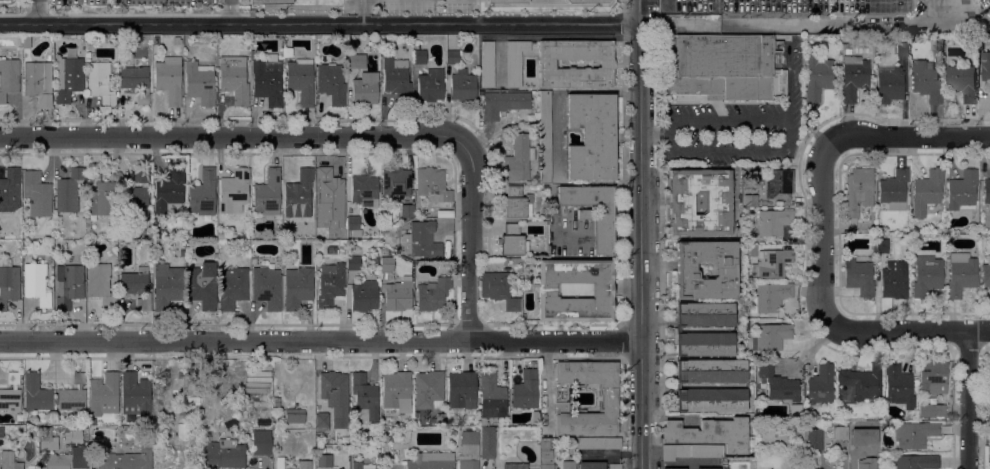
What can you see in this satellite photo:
building: (506, 1)
building: (586, 1)
building: (270, 2)
road: (638, 11)
road: (38, 12)
road: (230, 12)
road: (363, 12)
parking lot: (842, 13)
road: (976, 21)
road: (870, 22)
road: (675, 23)
road: (319, 24)
building: (156, 40)
building: (177, 40)
building: (26, 42)
building: (980, 43)
building: (844, 45)
building: (902, 49)
building: (848, 51)
building: (252, 54)
building: (419, 56)
building: (452, 57)
building: (356, 61)
building: (514, 61)
building: (547, 63)
building: (487, 64)
building: (721, 66)
building: (985, 66)
building: (817, 72)
building: (396, 76)
building: (8, 77)
building: (854, 77)
building: (68, 78)
building: (234, 78)
building: (136, 79)
building: (169, 79)
building: (268, 80)
building: (301, 80)
building: (925, 80)
building: (38, 81)
building: (100, 82)
building: (200, 82)
building: (331, 82)
building: (961, 82)
building: (889, 84)
building: (430, 85)
building: (462, 85)
building: (364, 89)
building: (503, 103)
road: (749, 120)
road: (231, 135)
building: (545, 136)
building: (591, 136)
road: (908, 139)
road: (736, 150)
building: (518, 158)
building: (395, 181)
building: (779, 183)
building: (432, 184)
building: (893, 186)
building: (9, 190)
building: (68, 190)
building: (169, 190)
building: (299, 190)
building: (364, 190)
building: (986, 190)
building: (234, 191)
building: (330, 191)
building: (858, 191)
building: (926, 191)
building: (962, 191)
building: (203, 192)
building: (136, 193)
building: (267, 193)
building: (36, 194)
building: (100, 195)
building: (750, 200)
building: (699, 202)
building: (516, 203)
building: (765, 204)
building: (407, 210)
building: (593, 212)
building: (773, 221)
building: (353, 224)
building: (152, 233)
building: (343, 235)
road: (827, 235)
building: (421, 240)
road: (470, 240)
building: (512, 240)
building: (343, 242)
building: (881, 244)
road: (640, 245)
building: (749, 250)
building: (862, 252)
building: (182, 253)
building: (215, 256)
building: (253, 261)
building: (385, 261)
building: (354, 263)
building: (771, 263)
building: (685, 267)
building: (961, 274)
building: (926, 275)
building: (986, 275)
building: (858, 277)
building: (893, 279)
building: (8, 282)
building: (36, 283)
building: (100, 284)
building: (330, 284)
building: (68, 285)
building: (167, 285)
building: (497, 285)
building: (137, 286)
building: (202, 287)
building: (232, 287)
building: (266, 287)
building: (297, 287)
building: (602, 289)
building: (398, 294)
building: (432, 294)
building: (364, 295)
building: (769, 297)
building: (705, 314)
road: (908, 331)
building: (770, 336)
road: (234, 340)
road: (554, 340)
building: (704, 344)
building: (711, 370)
building: (933, 376)
building: (257, 381)
building: (862, 383)
building: (820, 384)
building: (778, 385)
building: (898, 385)
building: (989, 385)
building: (428, 389)
building: (461, 389)
building: (526, 389)
building: (396, 391)
building: (136, 392)
building: (10, 393)
building: (36, 393)
building: (103, 394)
building: (492, 394)
building: (72, 395)
building: (335, 395)
building: (365, 395)
building: (711, 399)
building: (609, 400)
road: (970, 400)
building: (276, 401)
building: (930, 410)
building: (989, 414)
building: (294, 416)
building: (468, 419)
building: (321, 421)
building: (479, 423)
building: (9, 429)
building: (383, 429)
building: (528, 430)
building: (1, 431)
building: (841, 432)
building: (989, 432)
building: (72, 433)
building: (709, 433)
building: (915, 433)
building: (814, 439)
building: (261, 442)
building: (487, 442)
building: (598, 442)
building: (469, 448)
building: (706, 450)
building: (675, 451)
building: (219, 454)
building: (76, 457)
building: (545, 457)
building: (126, 459)
building: (324, 460)
building: (9, 461)
building: (57, 461)
building: (431, 461)
building: (280, 462)
building: (917, 462)
road: (680, 463)
building: (866, 463)
building: (304, 464)
building: (361, 465)
building: (568, 465)
building: (591, 465)
building: (546, 466)
building: (614, 466)
building: (519, 467)
building: (673, 468)
building: (707, 468)

